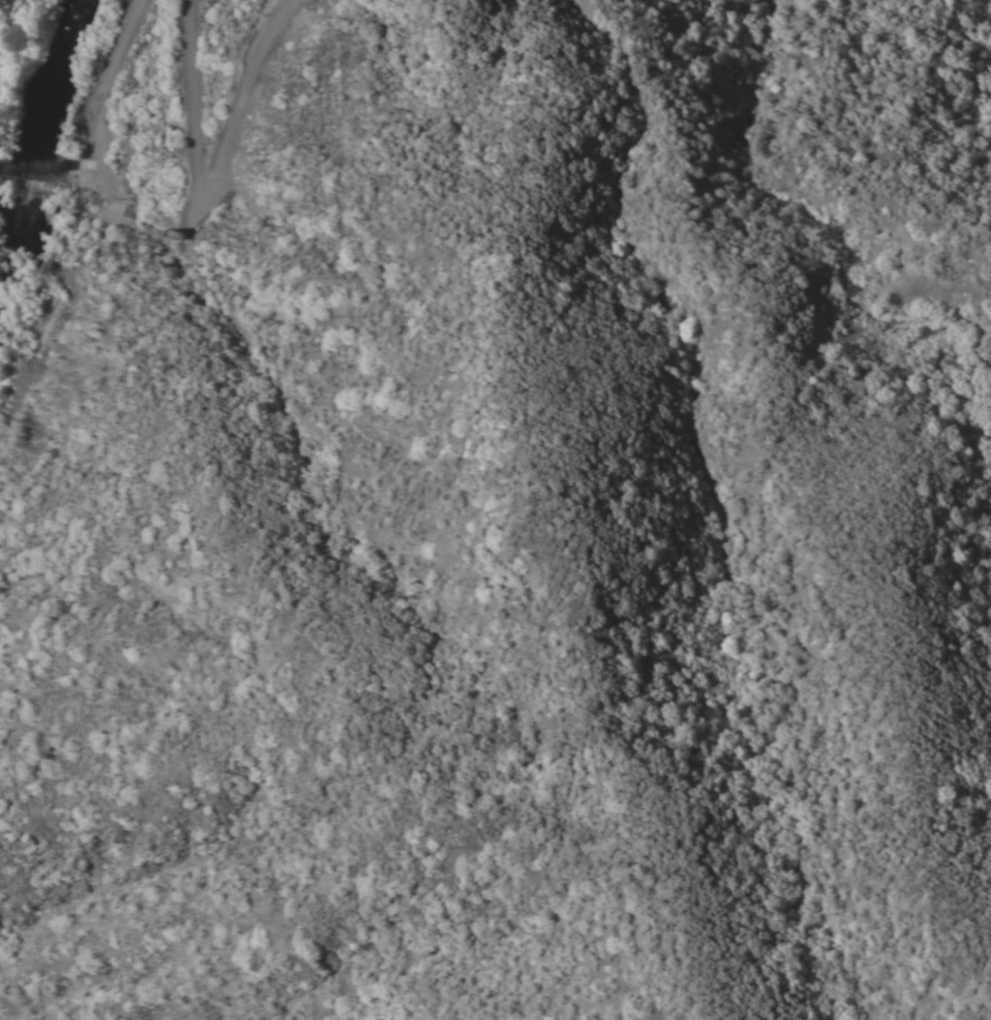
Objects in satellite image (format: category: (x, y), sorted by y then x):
building: (745, 51)
road: (99, 124)
river: (35, 140)
road: (209, 175)
road: (106, 179)
building: (178, 234)

